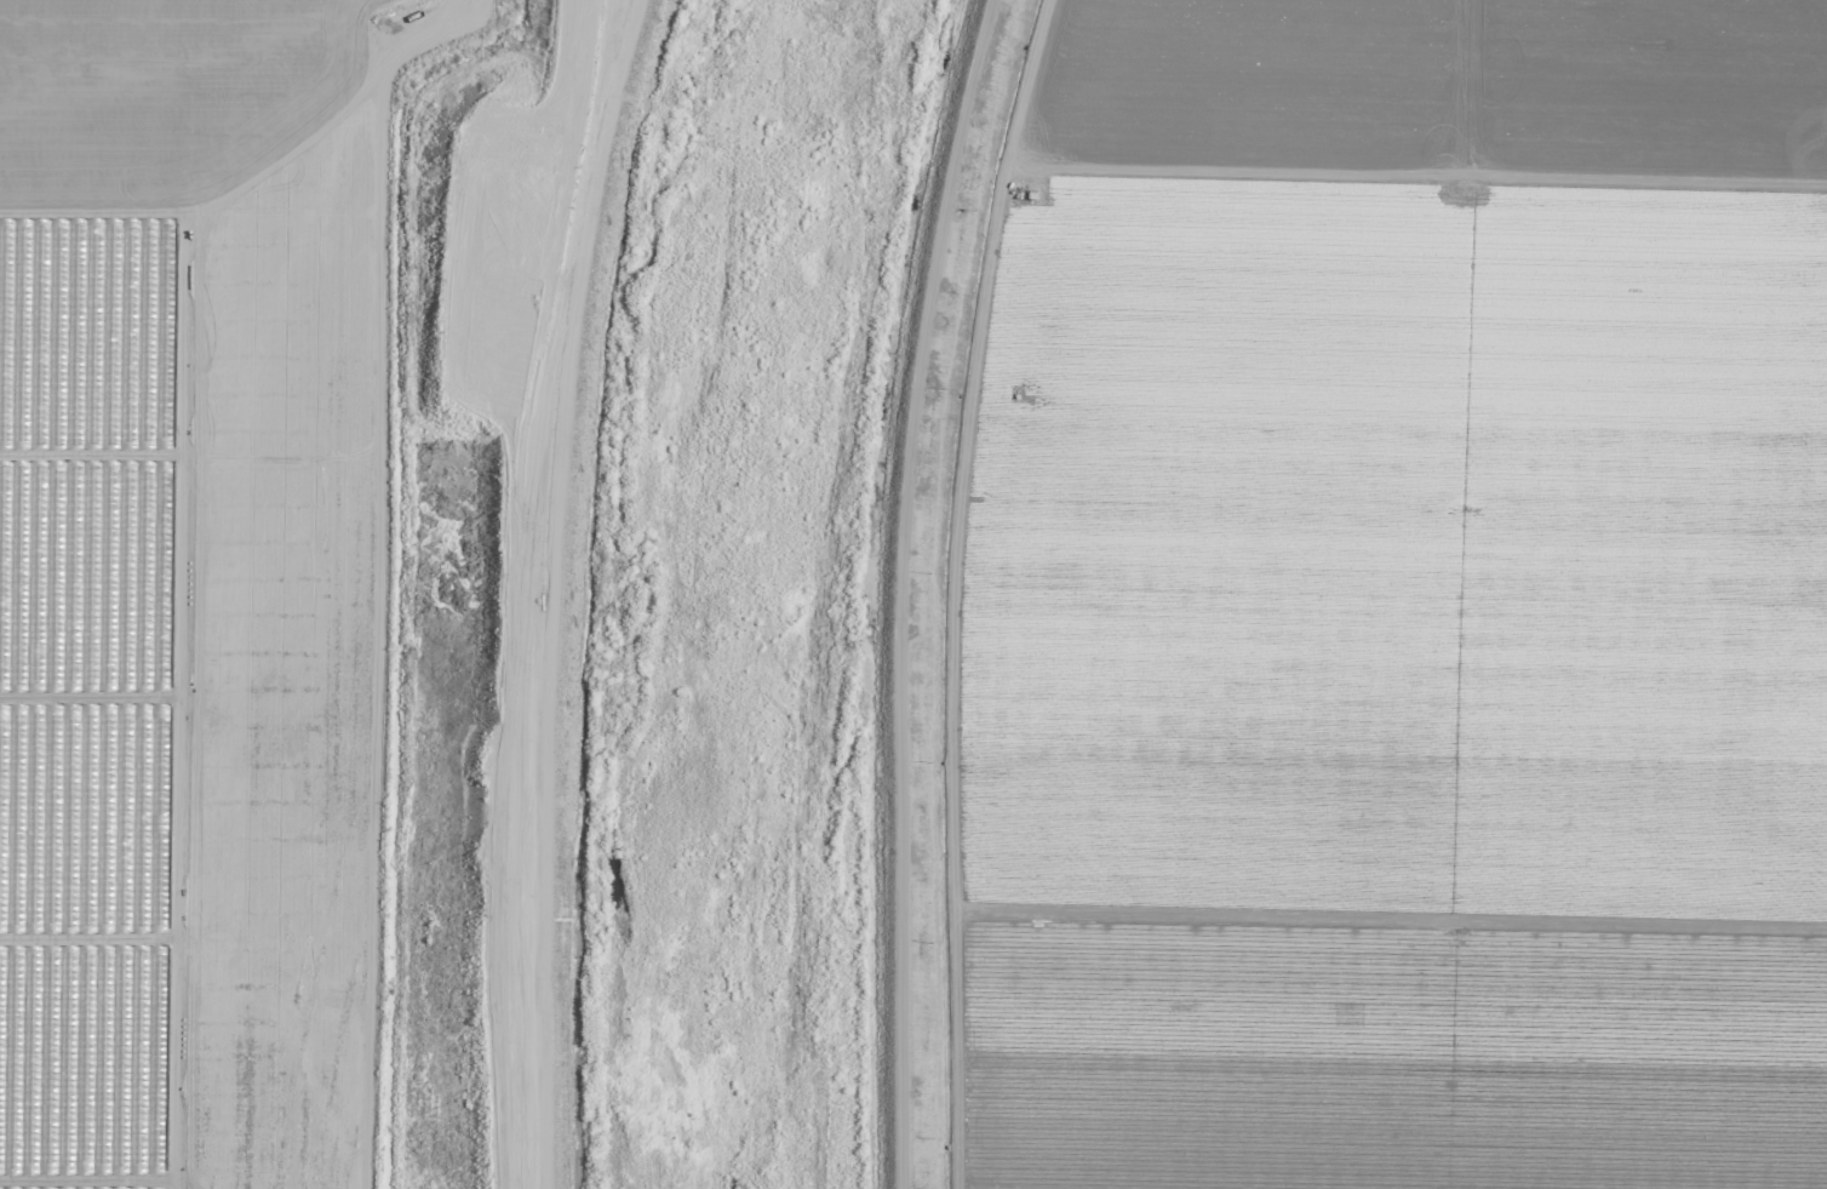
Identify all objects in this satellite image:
crop: (276, 581)
river: (699, 588)
road: (893, 589)
crop: (1401, 606)

